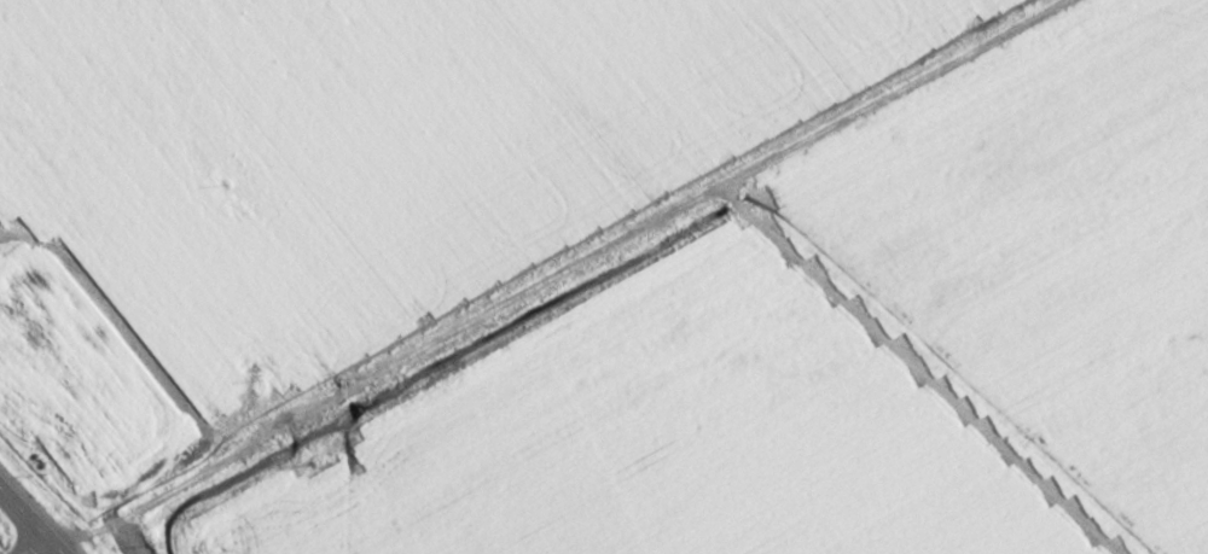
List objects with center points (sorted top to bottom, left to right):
road: (588, 270)
road: (29, 523)
road: (53, 553)

